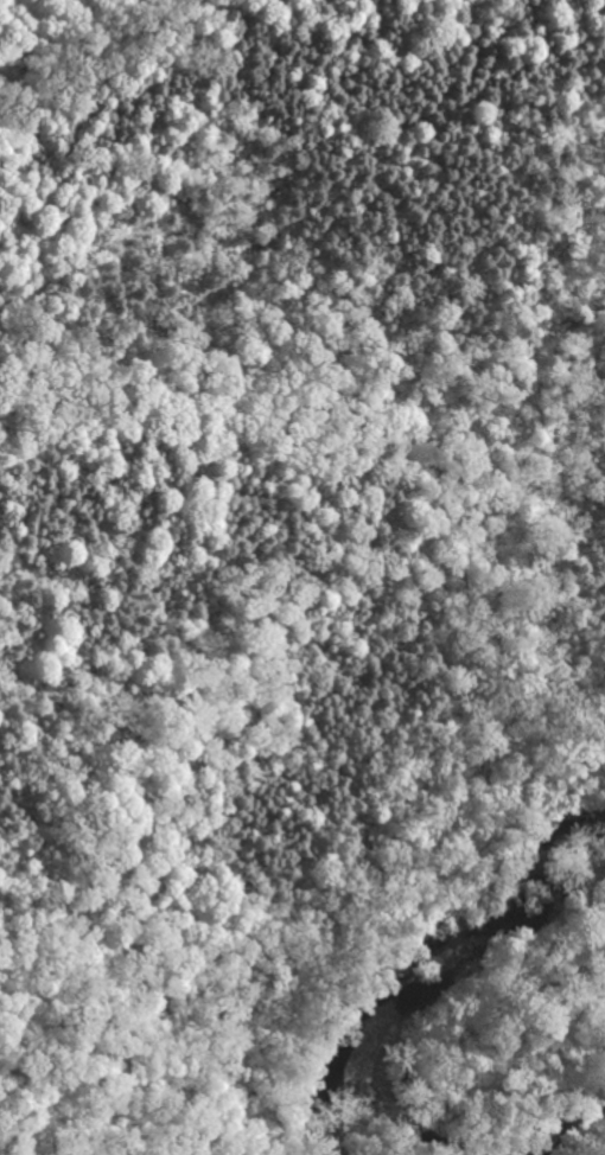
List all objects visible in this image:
park: (569, 1020)

